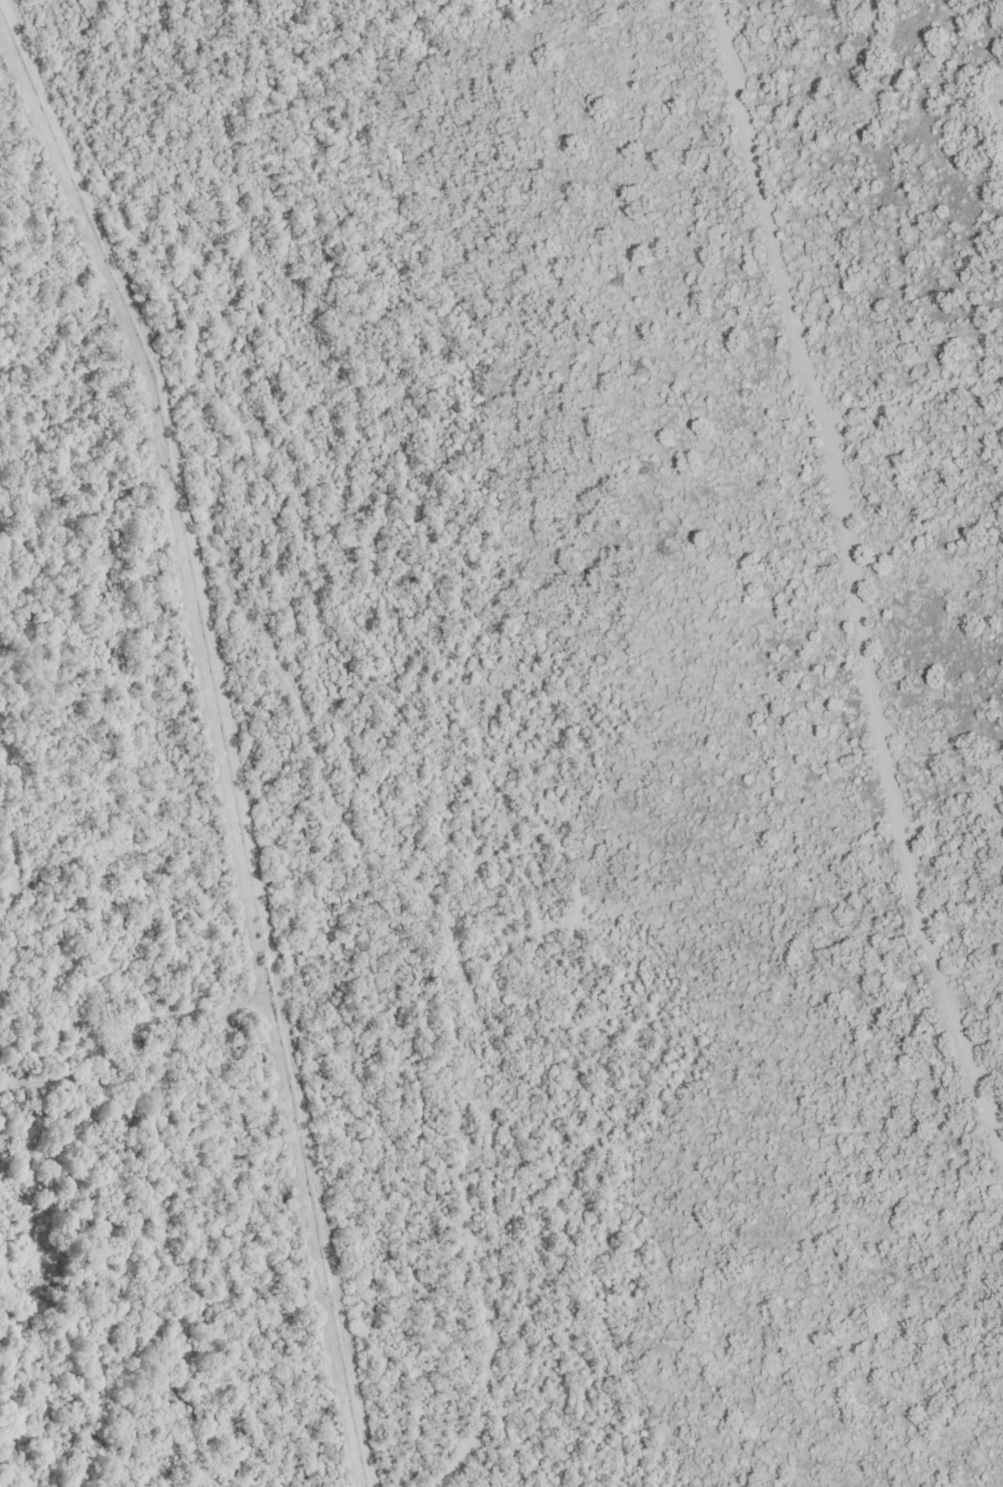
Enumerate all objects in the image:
road: (326, 755)

